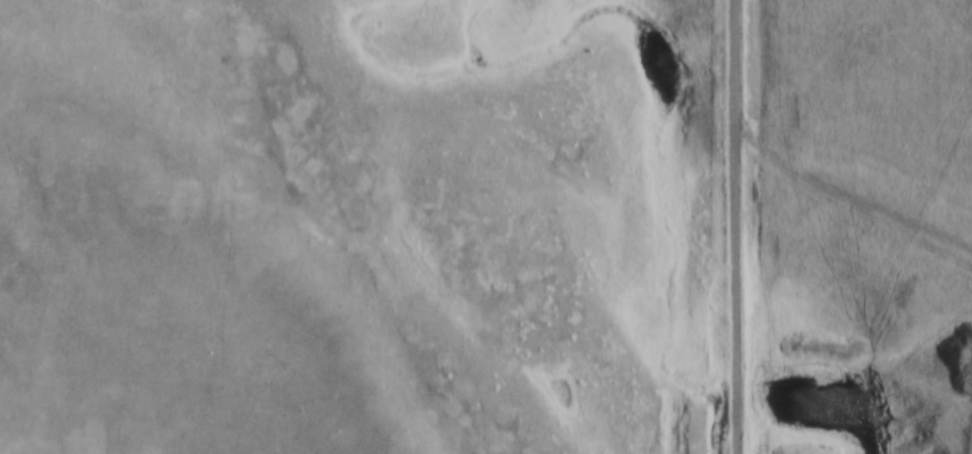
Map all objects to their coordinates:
road: (845, 193)
road: (733, 227)
quarry: (923, 388)

